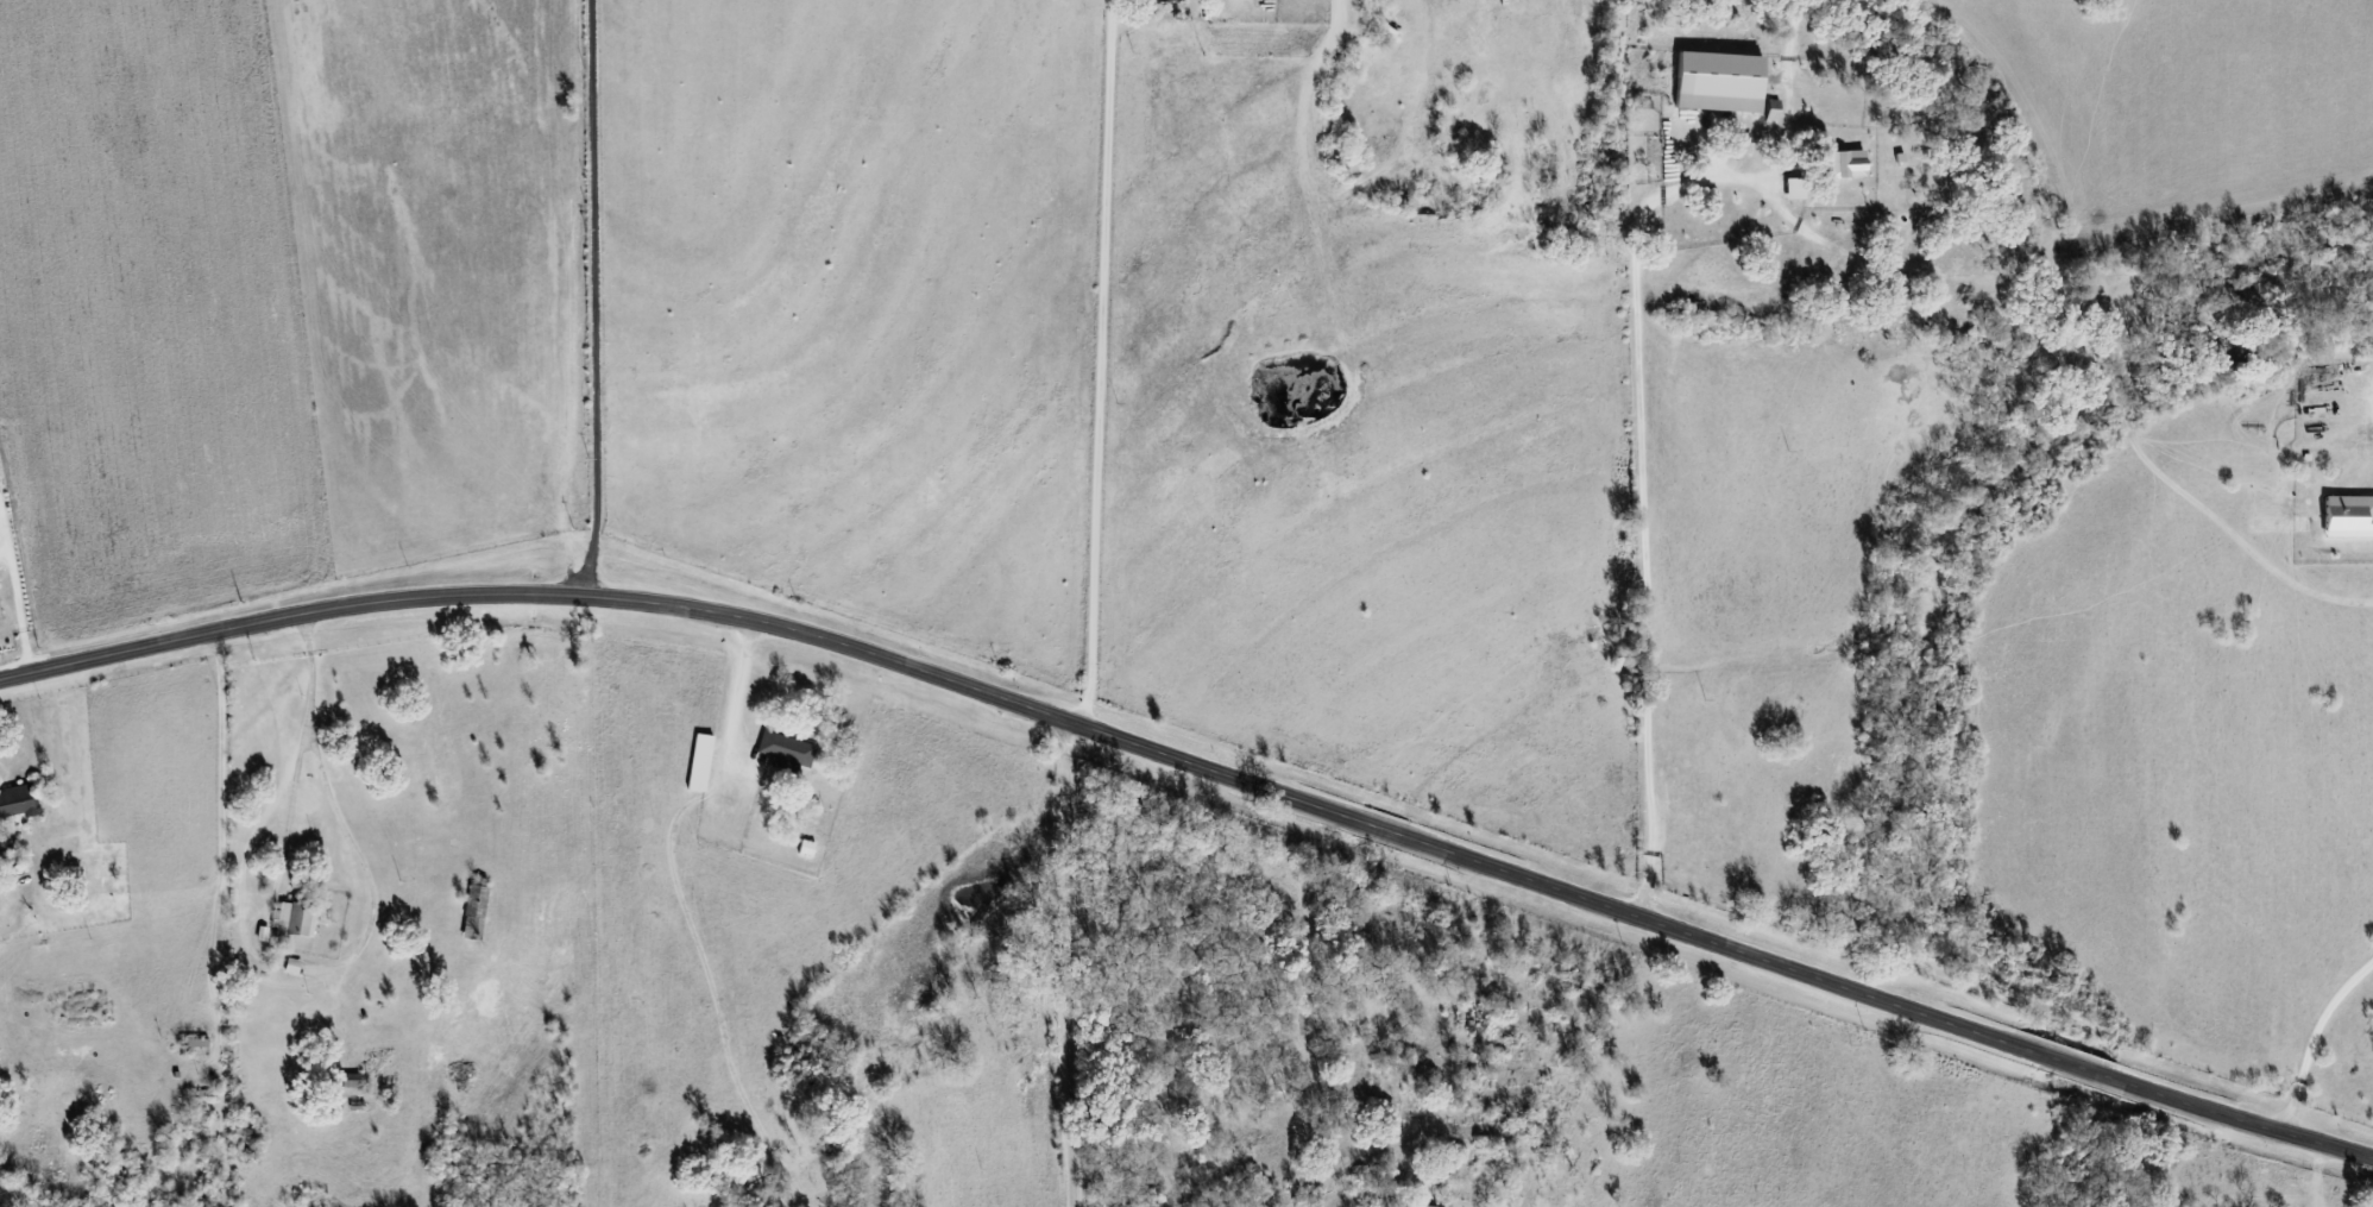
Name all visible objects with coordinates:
building: (1720, 81)
building: (1848, 163)
building: (1795, 188)
crop: (433, 268)
road: (592, 300)
crop: (150, 320)
road: (1099, 365)
road: (1638, 497)
building: (2348, 515)
road: (17, 597)
road: (743, 620)
road: (731, 704)
road: (302, 723)
building: (786, 748)
building: (15, 800)
building: (5, 842)
road: (172, 910)
building: (295, 919)
building: (262, 932)
road: (1071, 963)
building: (292, 966)
road: (1914, 1012)
road: (2311, 1037)
building: (1412, 1206)

